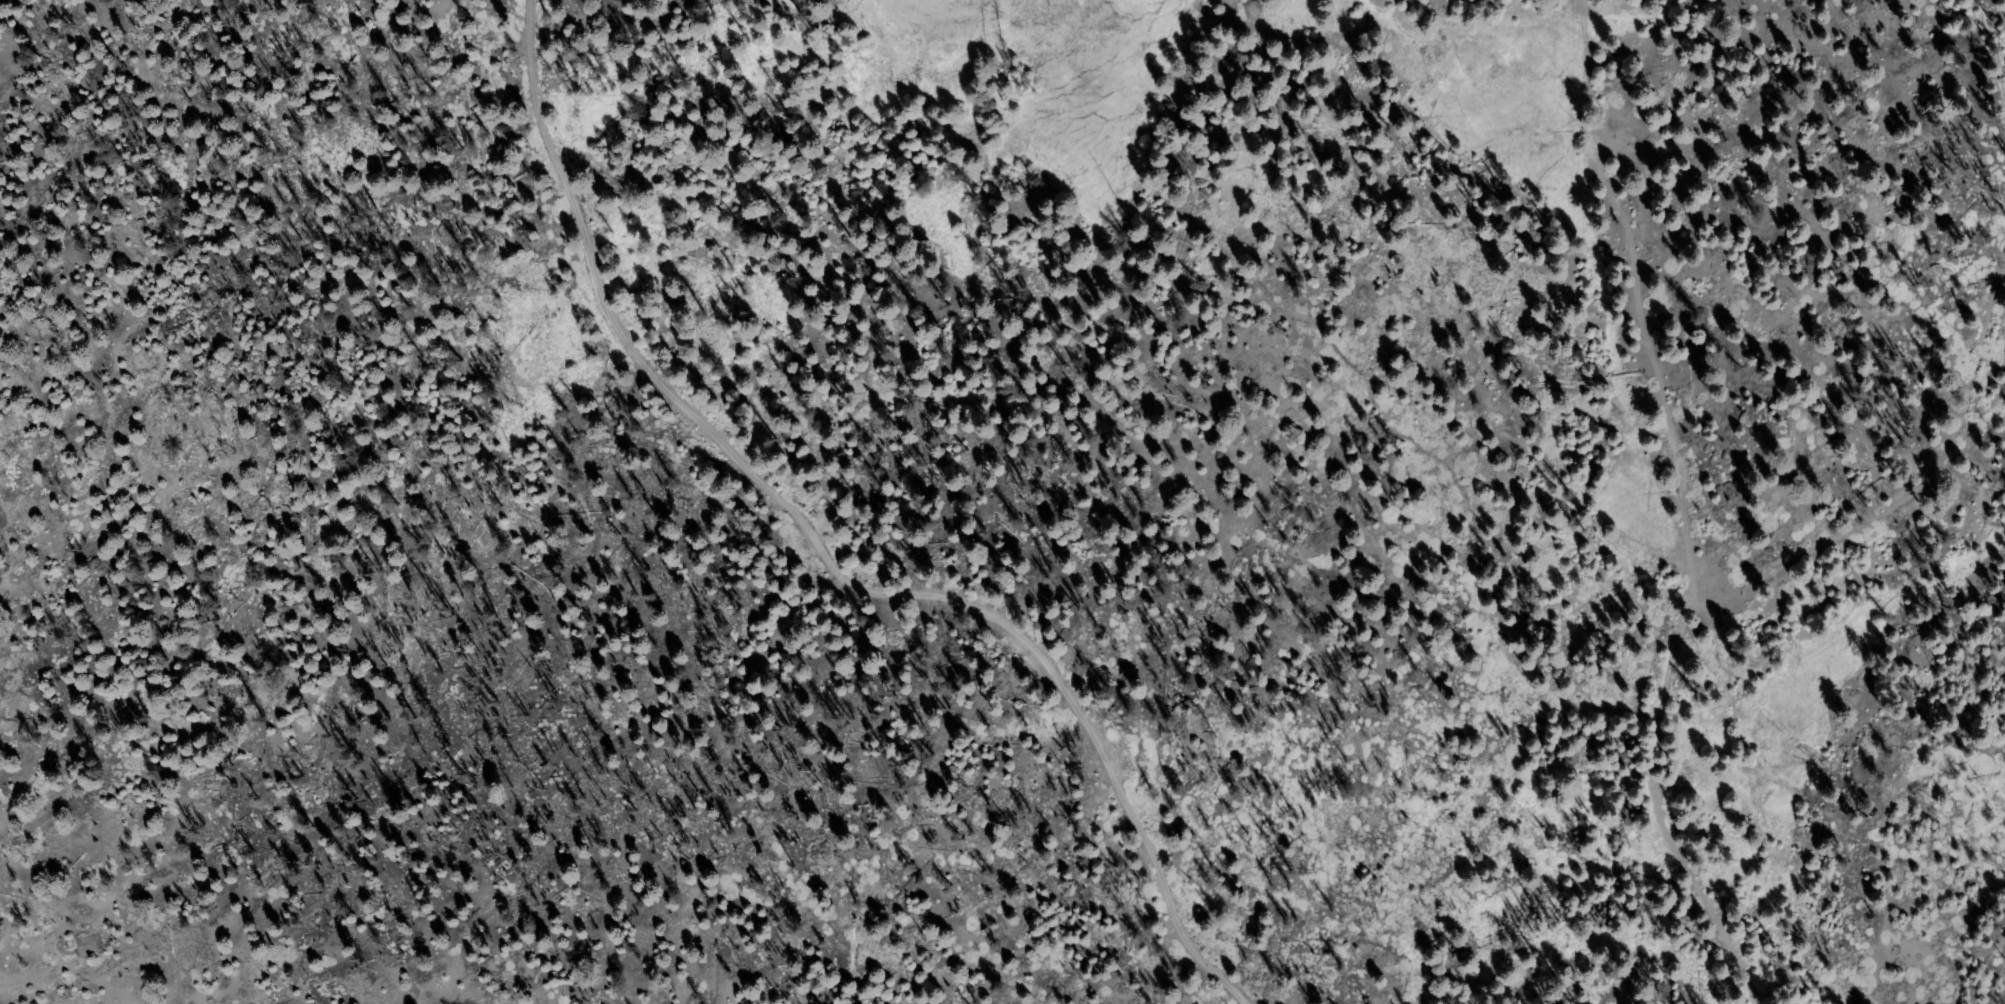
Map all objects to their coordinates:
road: (821, 554)

